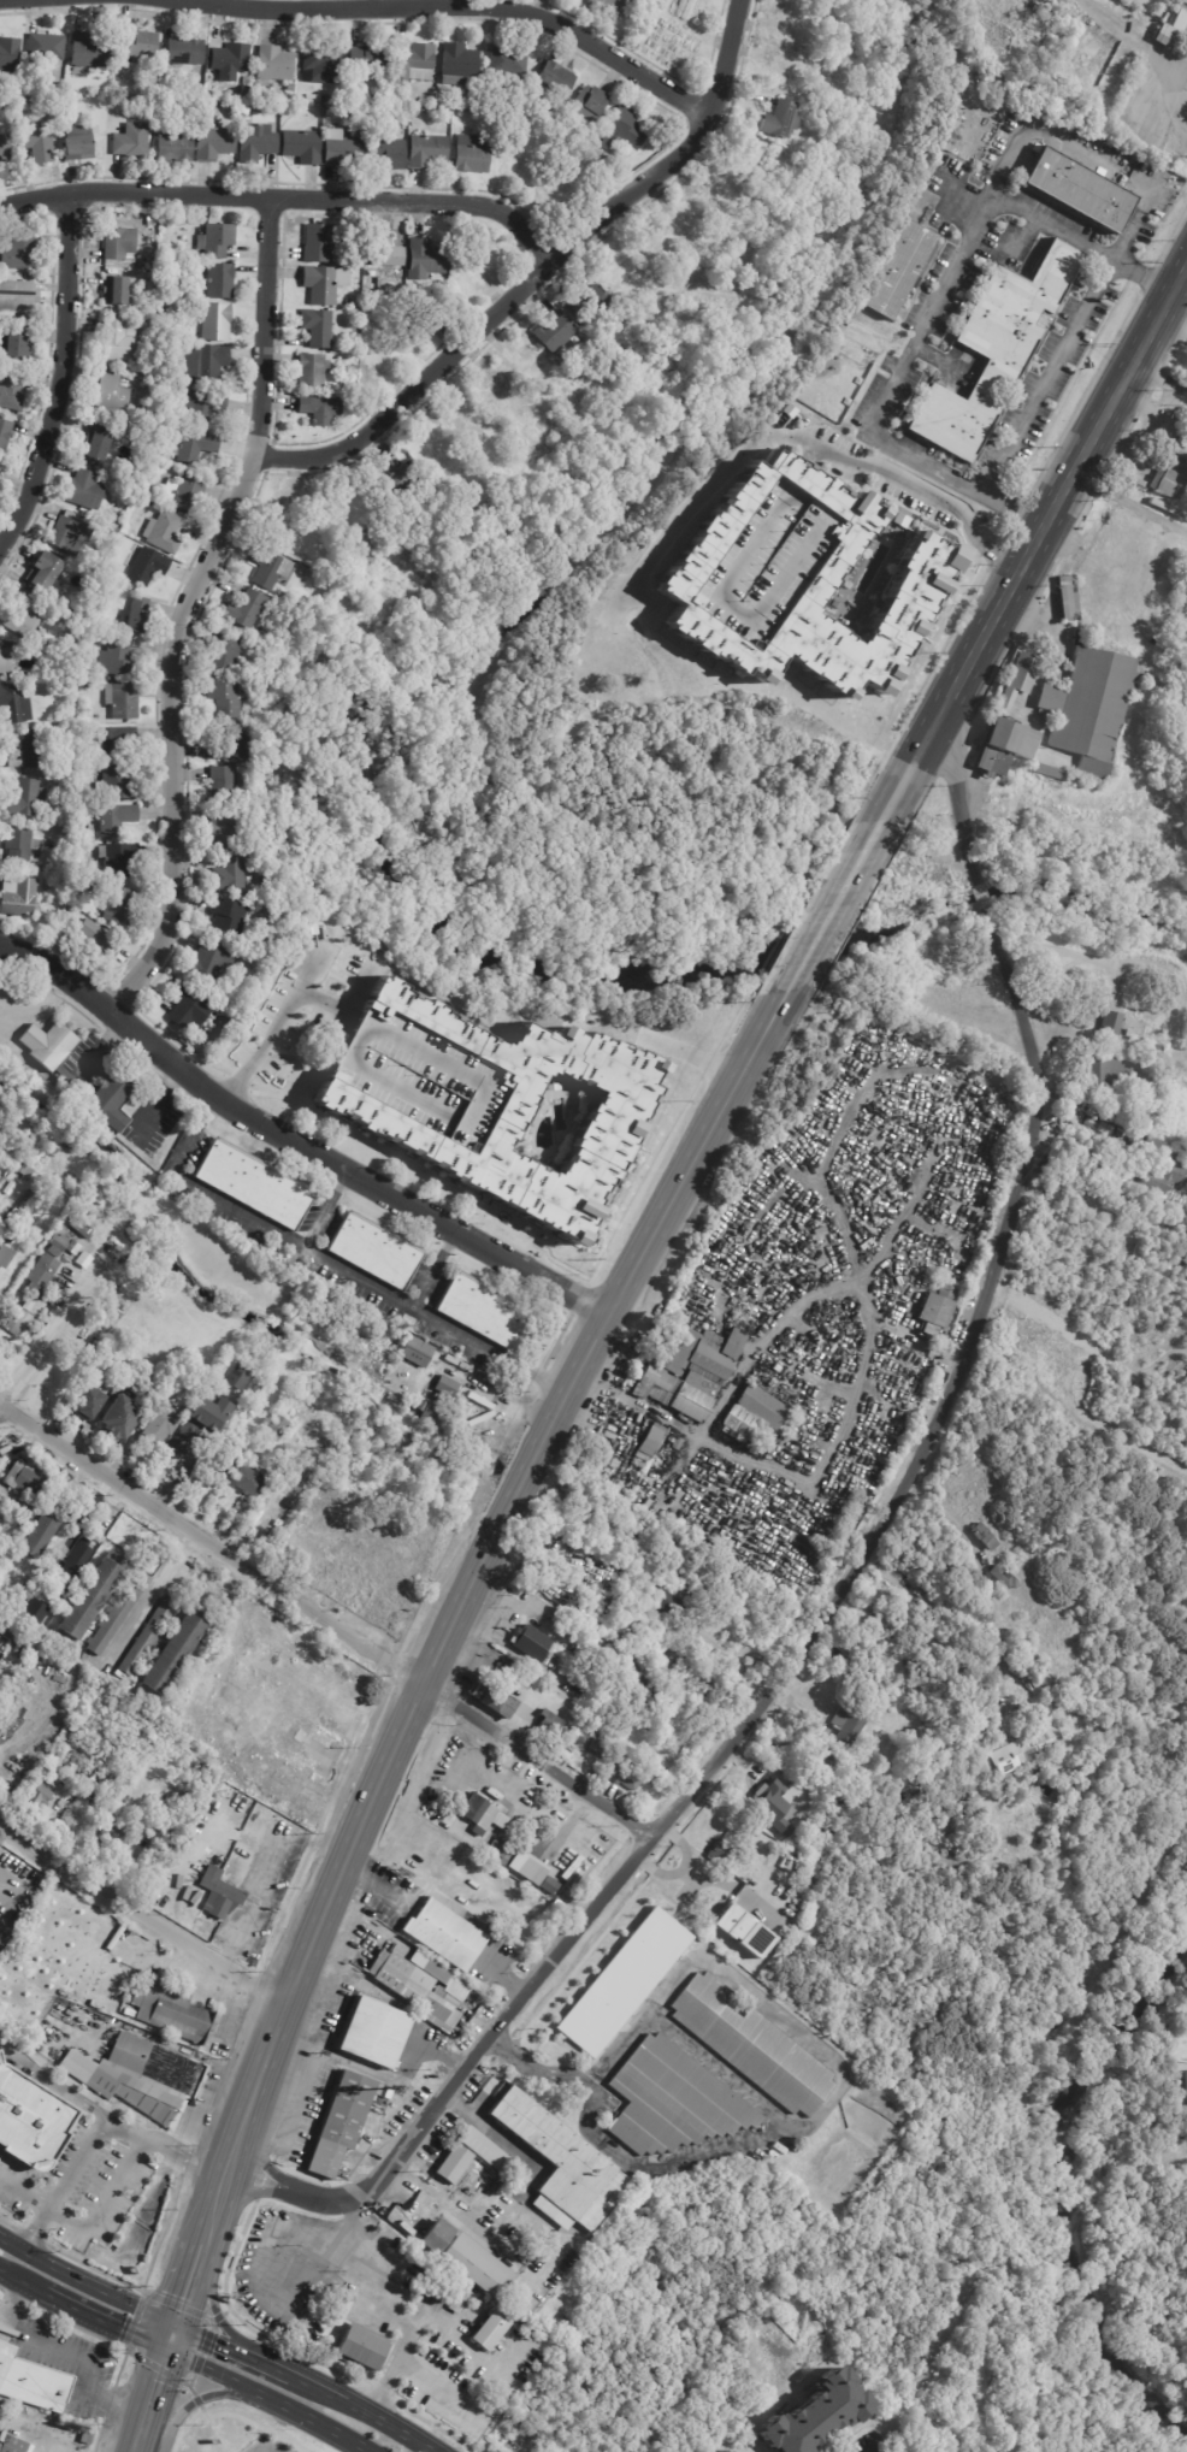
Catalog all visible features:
building: (612, 6)
road: (450, 7)
building: (1040, 12)
park: (929, 17)
building: (1170, 29)
building: (138, 45)
building: (45, 48)
building: (88, 51)
building: (183, 53)
building: (8, 55)
building: (366, 59)
building: (230, 60)
building: (413, 60)
building: (506, 60)
building: (456, 64)
building: (272, 65)
building: (320, 65)
building: (124, 67)
building: (246, 79)
building: (555, 79)
building: (123, 87)
building: (288, 87)
building: (67, 89)
building: (246, 89)
building: (14, 93)
road: (1171, 96)
building: (312, 98)
building: (364, 105)
building: (587, 105)
building: (289, 110)
building: (780, 120)
building: (622, 130)
building: (129, 141)
building: (36, 142)
building: (76, 143)
building: (212, 143)
building: (255, 143)
building: (301, 146)
building: (339, 149)
building: (425, 149)
building: (175, 150)
building: (4, 152)
building: (388, 153)
building: (472, 153)
road: (1087, 155)
building: (612, 163)
building: (1079, 189)
building: (551, 191)
road: (285, 200)
building: (215, 240)
building: (118, 243)
building: (317, 244)
building: (20, 253)
building: (386, 253)
building: (189, 256)
building: (424, 259)
building: (897, 270)
road: (537, 272)
building: (217, 280)
building: (323, 283)
building: (116, 291)
building: (197, 294)
building: (18, 299)
building: (585, 305)
road: (928, 309)
building: (212, 320)
building: (419, 324)
road: (1173, 326)
building: (315, 327)
building: (554, 333)
building: (118, 339)
building: (17, 344)
building: (993, 350)
building: (203, 365)
building: (311, 371)
road: (63, 377)
road: (1044, 378)
road: (1158, 382)
building: (16, 391)
building: (111, 394)
building: (203, 406)
building: (319, 410)
building: (5, 435)
building: (94, 444)
building: (195, 447)
road: (807, 448)
building: (1181, 453)
building: (1169, 481)
building: (0, 483)
building: (389, 484)
building: (84, 490)
building: (183, 494)
road: (1130, 502)
road: (1052, 513)
building: (112, 530)
building: (163, 532)
building: (67, 533)
building: (143, 565)
building: (267, 569)
building: (303, 572)
building: (45, 574)
building: (795, 579)
building: (1067, 598)
road: (189, 609)
building: (244, 609)
building: (19, 616)
building: (134, 616)
building: (222, 655)
building: (116, 660)
building: (5, 661)
building: (57, 664)
building: (1018, 680)
building: (87, 685)
building: (225, 697)
building: (120, 702)
building: (12, 705)
building: (1087, 708)
park: (535, 734)
building: (60, 740)
building: (112, 741)
building: (231, 746)
building: (1002, 746)
building: (28, 751)
building: (63, 768)
building: (1046, 773)
building: (113, 784)
building: (223, 785)
road: (899, 792)
building: (24, 799)
road: (959, 803)
building: (114, 821)
building: (223, 828)
building: (17, 846)
building: (116, 861)
building: (229, 873)
building: (81, 875)
building: (265, 884)
building: (45, 886)
building: (88, 887)
road: (981, 894)
building: (17, 898)
building: (117, 908)
road: (834, 909)
building: (70, 912)
building: (226, 917)
building: (91, 939)
building: (209, 964)
road: (290, 1003)
building: (185, 1009)
building: (1111, 1022)
building: (1132, 1028)
road: (667, 1045)
road: (104, 1047)
building: (1105, 1069)
building: (119, 1079)
building: (491, 1103)
road: (161, 1104)
building: (1105, 1123)
road: (296, 1142)
building: (1147, 1146)
building: (1185, 1162)
building: (25, 1170)
building: (1162, 1178)
building: (252, 1183)
road: (327, 1209)
road: (665, 1212)
building: (81, 1229)
building: (11, 1240)
building: (66, 1245)
building: (372, 1249)
building: (8, 1257)
building: (71, 1259)
road: (335, 1262)
road: (436, 1269)
building: (43, 1275)
building: (320, 1276)
road: (986, 1282)
building: (64, 1287)
building: (0, 1301)
road: (802, 1302)
building: (480, 1310)
building: (937, 1310)
building: (24, 1318)
building: (87, 1345)
road: (923, 1345)
railway: (608, 1347)
building: (417, 1352)
building: (689, 1371)
building: (237, 1378)
building: (444, 1387)
building: (255, 1389)
building: (85, 1401)
building: (427, 1411)
building: (750, 1414)
building: (118, 1418)
building: (158, 1422)
building: (197, 1426)
building: (274, 1429)
road: (702, 1438)
building: (649, 1441)
building: (220, 1458)
building: (20, 1477)
building: (248, 1481)
road: (522, 1482)
building: (18, 1500)
building: (39, 1536)
road: (212, 1543)
building: (75, 1560)
road: (986, 1577)
building: (897, 1580)
road: (148, 1597)
building: (88, 1600)
building: (671, 1603)
building: (637, 1606)
building: (114, 1618)
building: (146, 1637)
road: (819, 1641)
building: (532, 1643)
building: (306, 1646)
building: (271, 1653)
building: (170, 1656)
building: (616, 1656)
building: (327, 1661)
building: (994, 1670)
building: (506, 1673)
building: (256, 1677)
building: (353, 1678)
building: (651, 1691)
building: (492, 1701)
road: (352, 1704)
building: (1032, 1712)
building: (78, 1720)
building: (548, 1724)
building: (845, 1726)
building: (295, 1733)
building: (578, 1739)
building: (321, 1745)
building: (591, 1749)
building: (607, 1749)
building: (1024, 1750)
road: (538, 1760)
building: (51, 1765)
building: (612, 1767)
building: (817, 1772)
building: (590, 1773)
building: (627, 1778)
building: (274, 1791)
building: (41, 1794)
park: (1097, 1798)
building: (773, 1806)
building: (302, 1807)
building: (478, 1816)
building: (150, 1818)
building: (958, 1822)
building: (107, 1837)
road: (680, 1844)
building: (798, 1848)
building: (780, 1850)
building: (952, 1850)
building: (500, 1851)
building: (719, 1853)
building: (985, 1860)
building: (527, 1867)
road: (661, 1871)
building: (572, 1875)
road: (338, 1877)
building: (563, 1883)
building: (547, 1885)
road: (728, 1889)
building: (219, 1892)
road: (142, 1913)
building: (743, 1931)
building: (448, 1932)
building: (4, 1934)
road: (541, 1973)
building: (622, 1983)
building: (420, 1989)
building: (171, 2008)
building: (373, 2033)
building: (752, 2046)
road: (360, 2064)
road: (542, 2069)
building: (142, 2078)
building: (1182, 2081)
road: (52, 2084)
road: (299, 2101)
building: (672, 2101)
building: (30, 2122)
building: (342, 2122)
road: (100, 2128)
road: (490, 2131)
building: (559, 2162)
building: (451, 2163)
road: (26, 2192)
road: (105, 2202)
road: (454, 2206)
road: (352, 2215)
building: (429, 2223)
road: (270, 2245)
building: (477, 2267)
road: (188, 2279)
road: (24, 2281)
road: (84, 2282)
building: (435, 2291)
road: (14, 2302)
road: (207, 2303)
building: (411, 2318)
building: (449, 2318)
traffic signals: (172, 2321)
building: (468, 2321)
road: (107, 2322)
road: (398, 2322)
building: (420, 2329)
building: (489, 2330)
road: (169, 2335)
building: (343, 2336)
road: (209, 2338)
traffic signals: (165, 2350)
road: (83, 2359)
road: (268, 2364)
road: (209, 2371)
building: (33, 2382)
road: (318, 2386)
road: (148, 2400)
road: (185, 2401)
building: (816, 2415)
road: (311, 2421)
road: (392, 2424)
building: (18, 2446)
building: (722, 2451)

